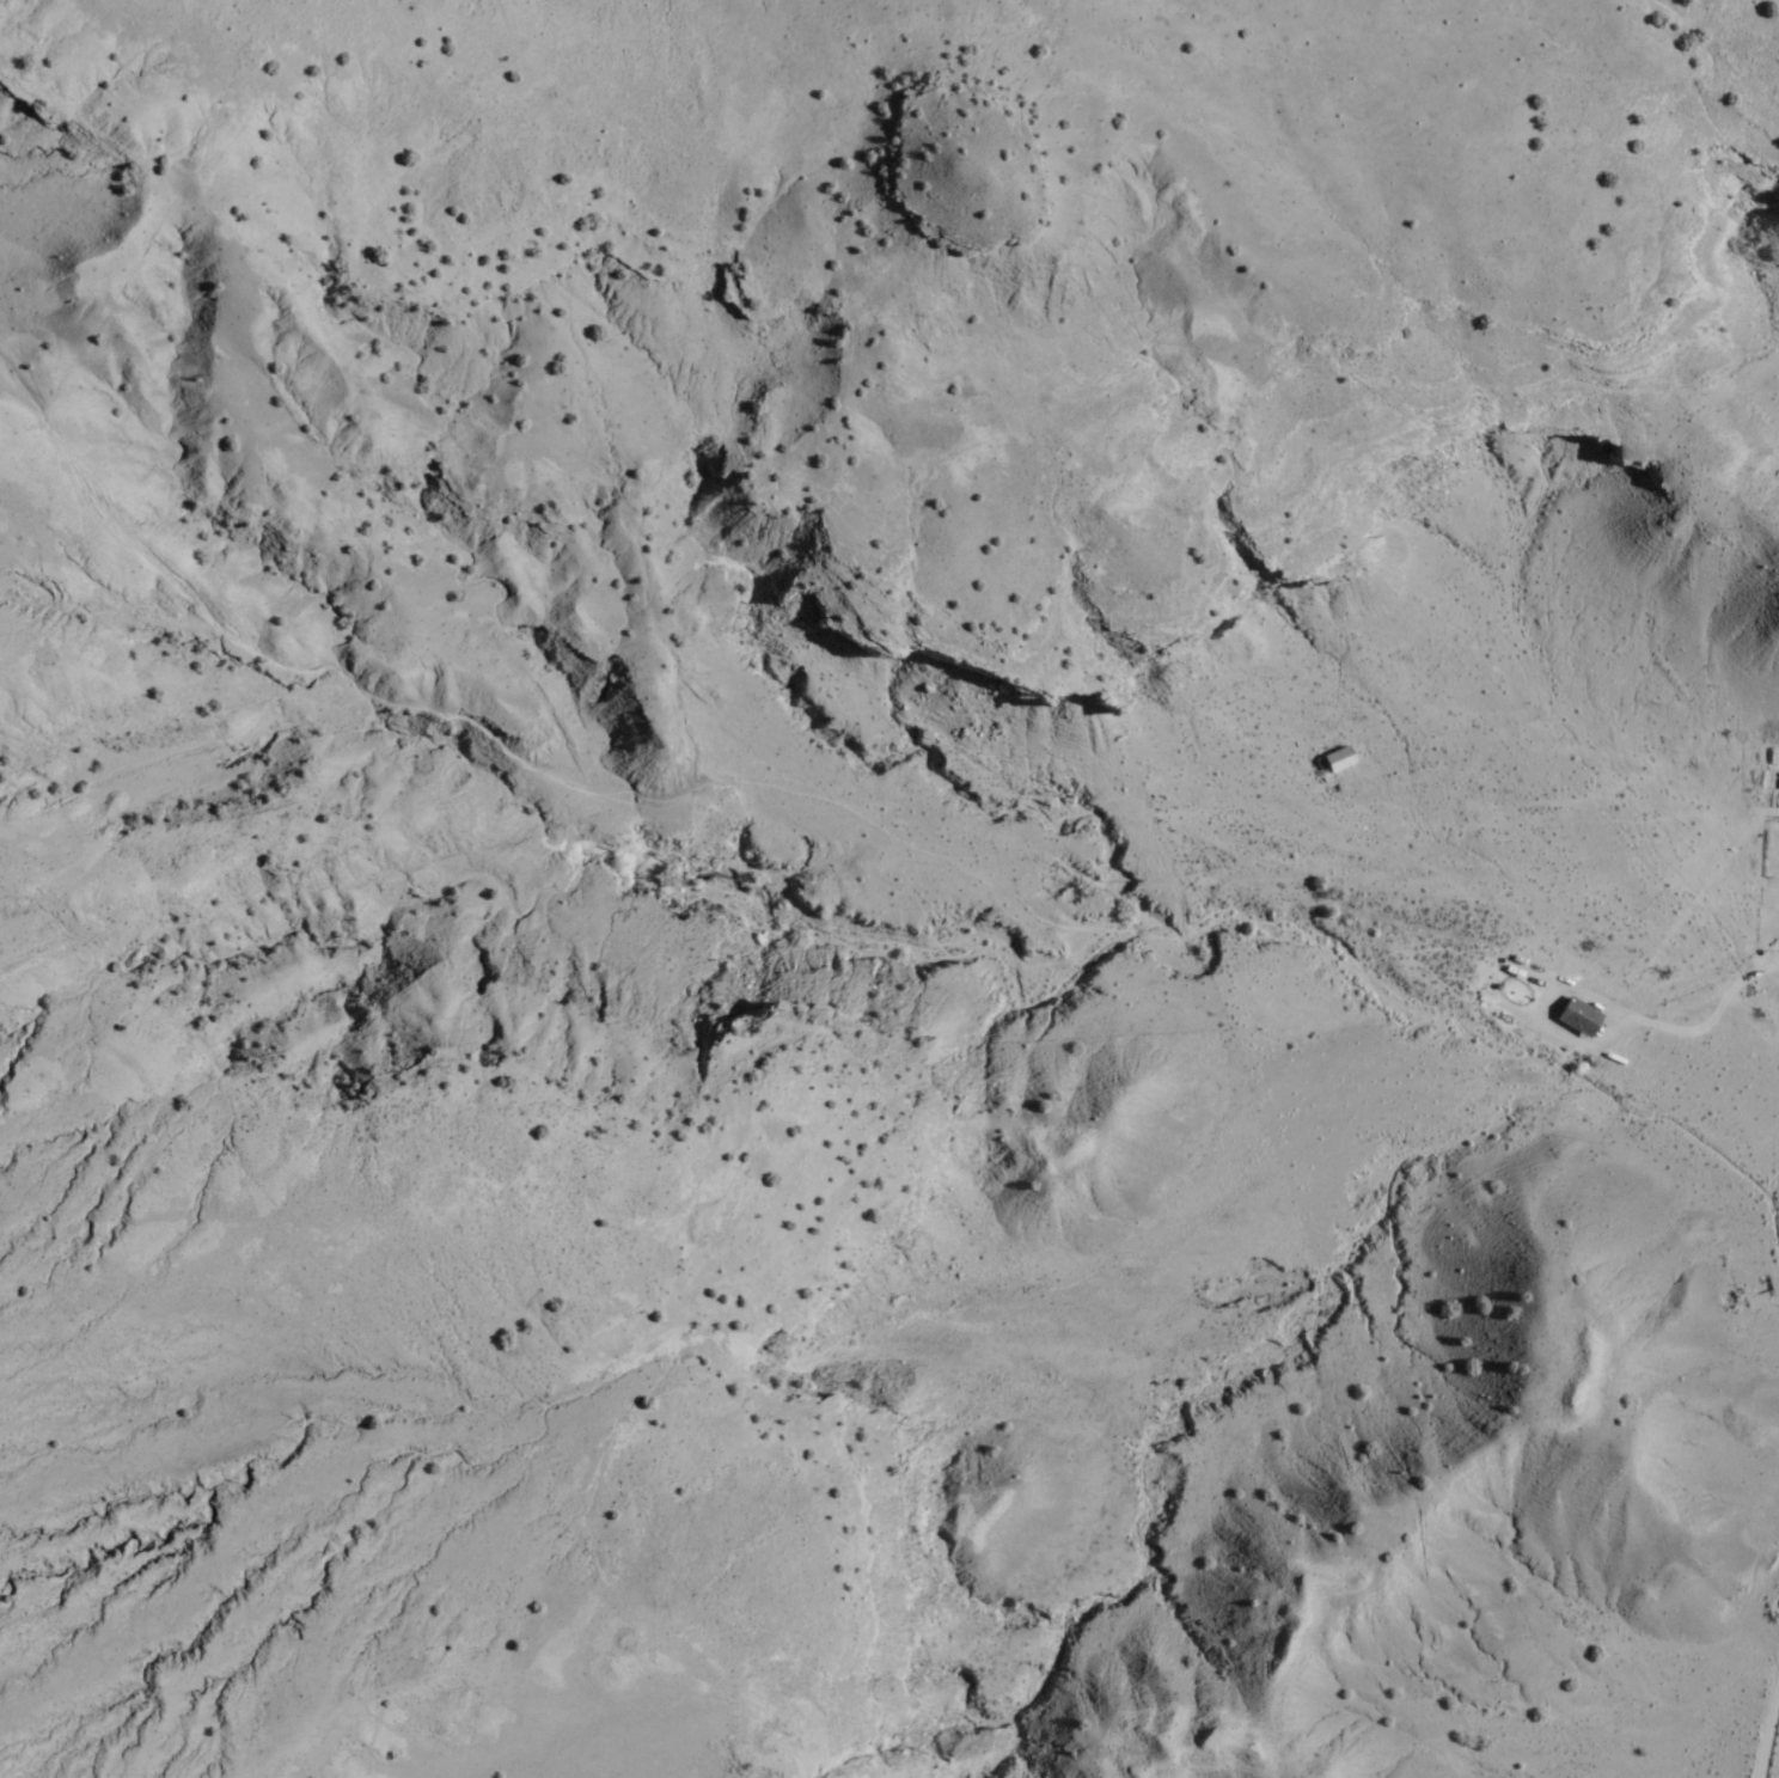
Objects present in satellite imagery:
building: (1335, 760)
building: (1575, 1016)
road: (1766, 1715)

